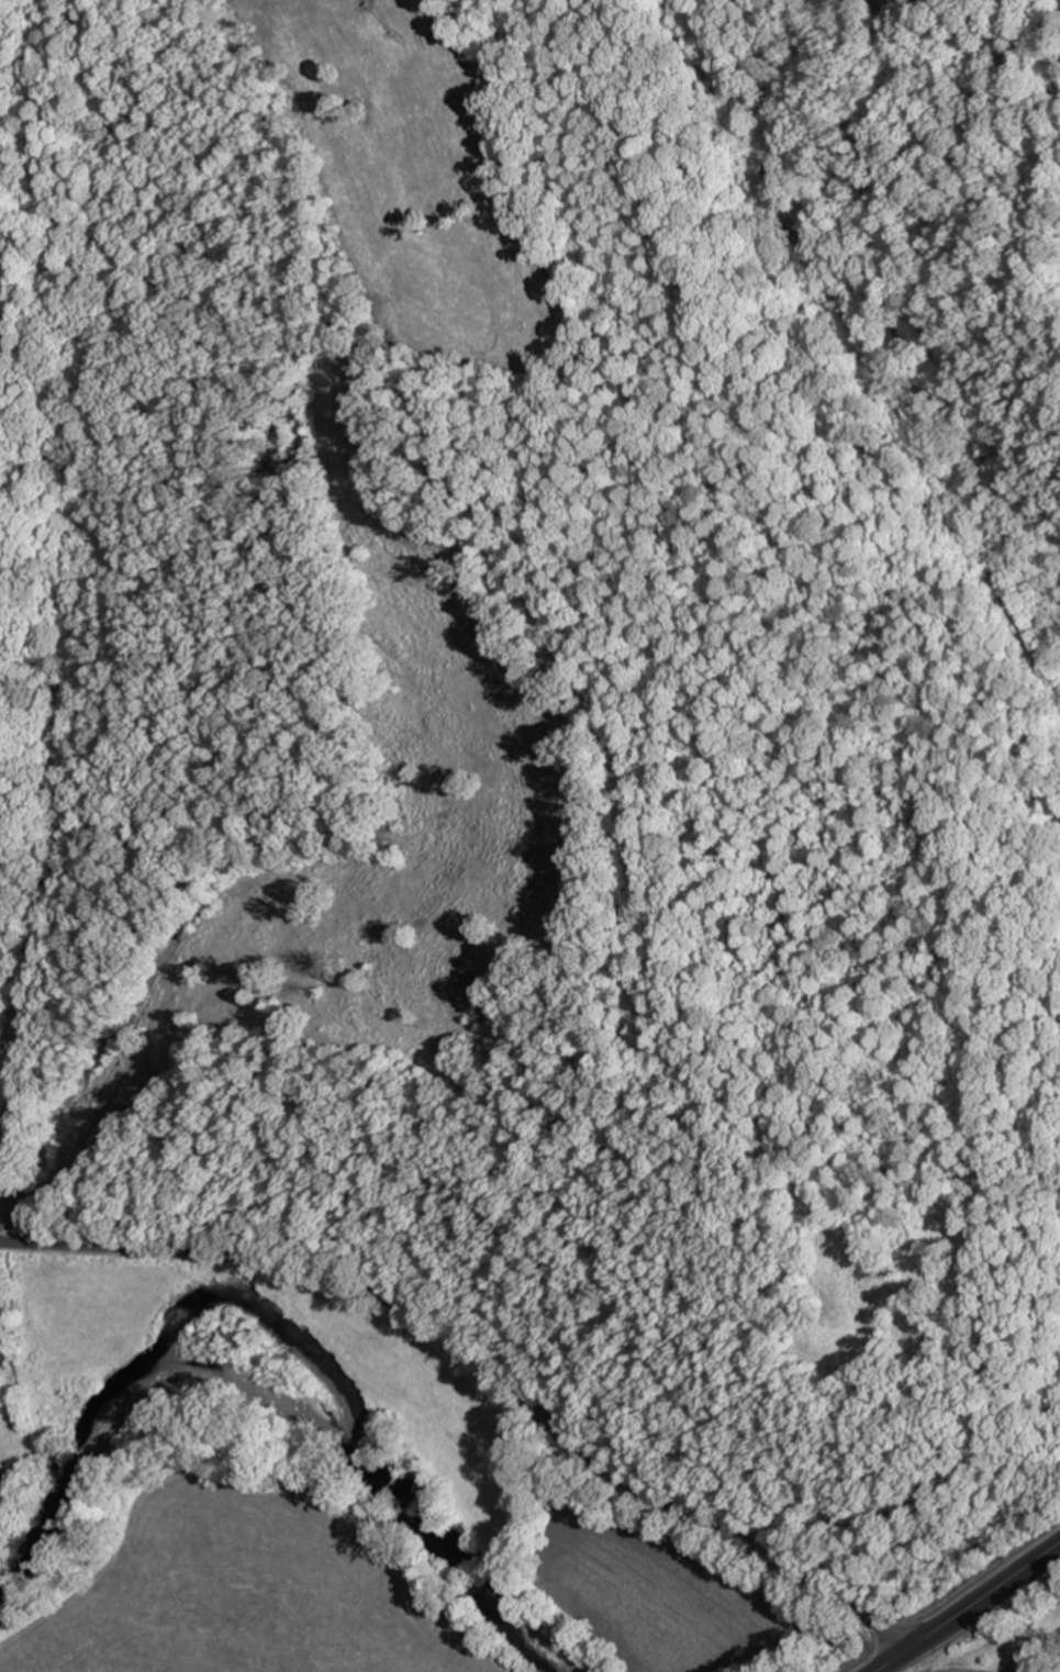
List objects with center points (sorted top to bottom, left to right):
river: (275, 1328)
road: (482, 1371)
road: (970, 1608)
road: (1036, 1654)

